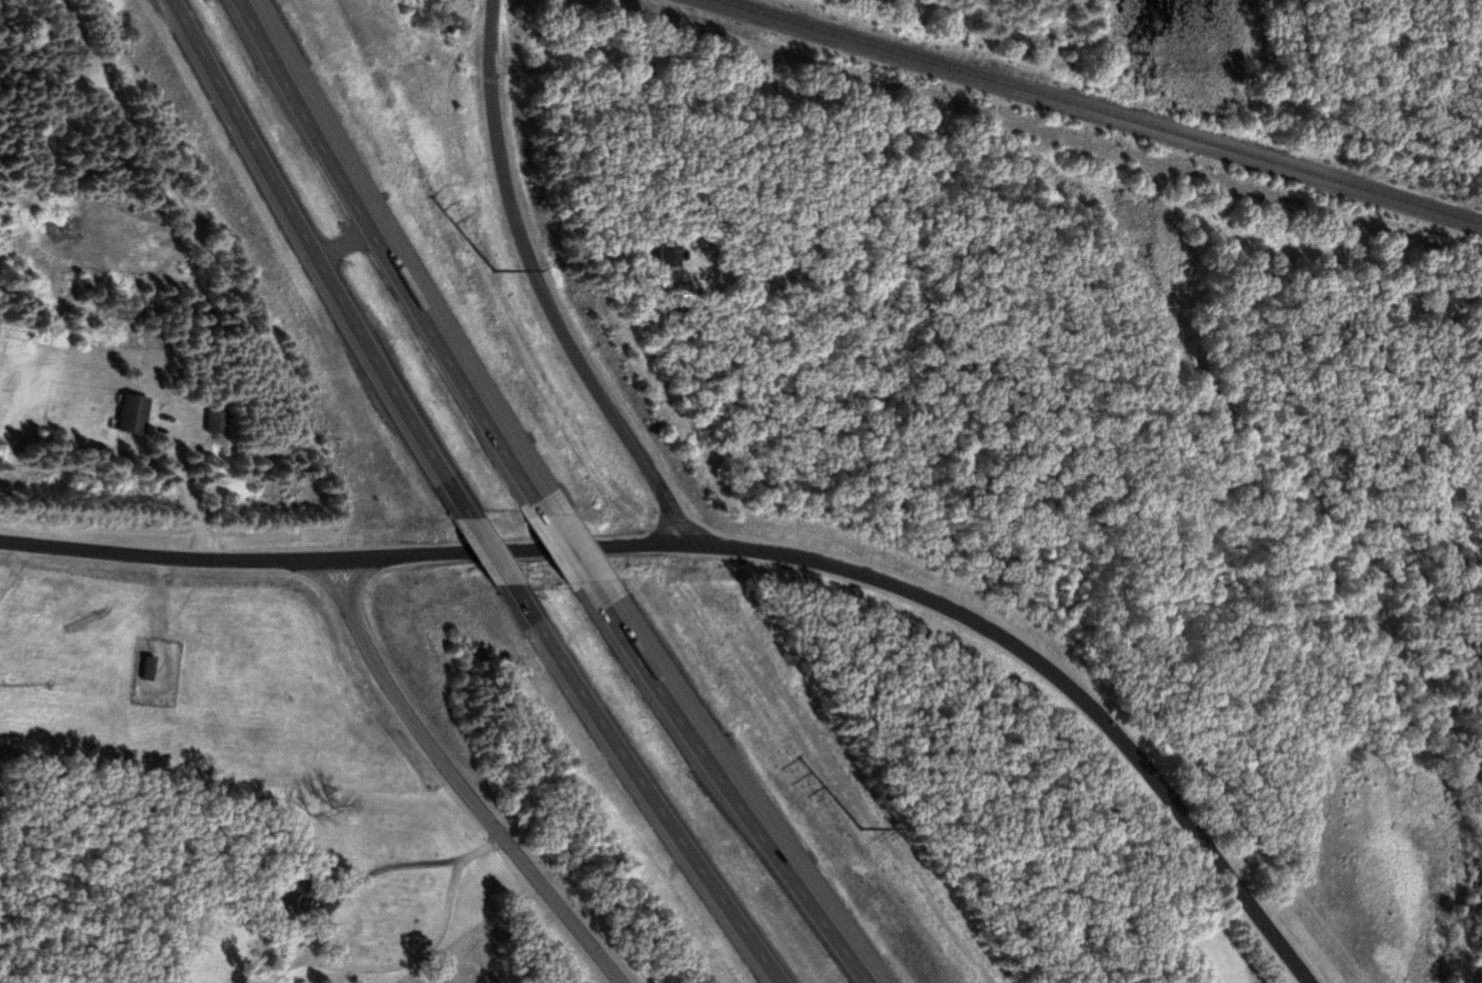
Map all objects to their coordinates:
railway: (1103, 110)
road: (348, 246)
building: (670, 257)
road: (392, 261)
road: (322, 263)
power tower: (496, 269)
road: (545, 290)
building: (139, 415)
building: (221, 423)
road: (572, 550)
road: (498, 554)
road: (170, 560)
road: (906, 599)
road: (166, 605)
building: (153, 669)
road: (462, 782)
road: (741, 783)
road: (640, 784)
power tower: (860, 827)
road: (413, 924)
road: (421, 954)

